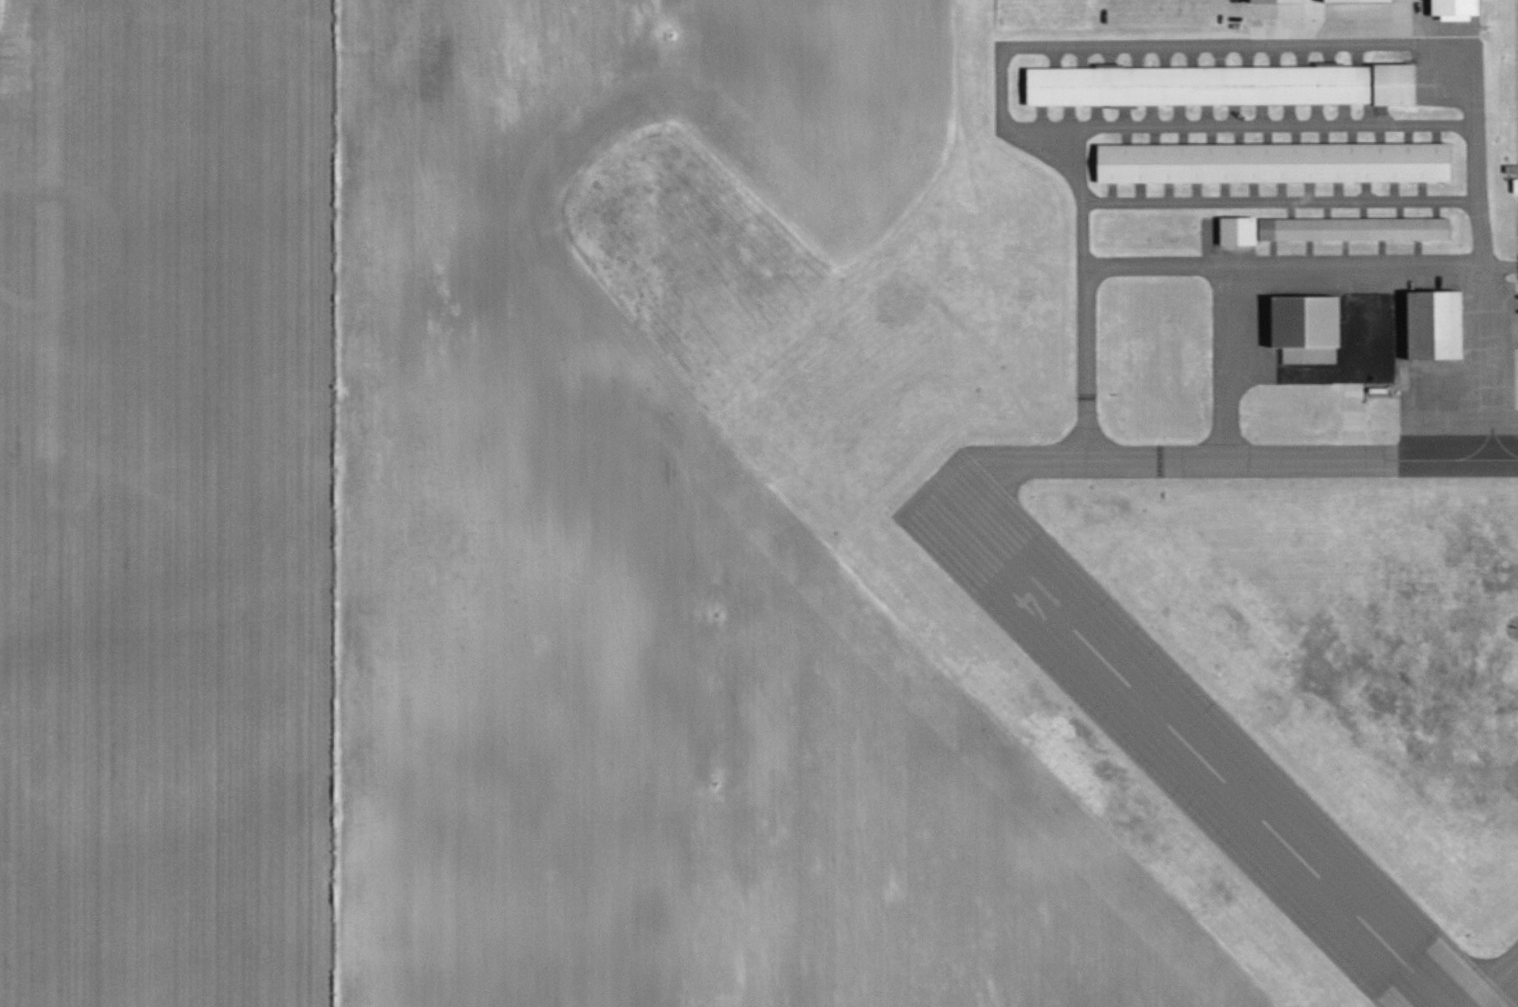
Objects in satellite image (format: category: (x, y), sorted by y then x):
building: (1282, 1)
building: (1366, 1)
building: (1460, 7)
airport taxiway: (1237, 46)
airport taxiway: (1302, 55)
airport taxiway: (1329, 55)
airport taxiway: (1357, 55)
airport taxiway: (1164, 56)
airport taxiway: (1191, 56)
airport taxiway: (1218, 56)
airport taxiway: (1248, 56)
airport taxiway: (1274, 56)
airport taxiway: (1053, 57)
airport taxiway: (1082, 57)
airport taxiway: (1108, 57)
airport taxiway: (1136, 57)
airport taxiway: (1474, 84)
airport hangar: (1396, 85)
building: (1396, 85)
airport hangar: (1199, 86)
building: (1199, 86)
airport taxiway: (1367, 114)
airport taxiway: (1289, 115)
airport taxiway: (1316, 115)
airport taxiway: (1343, 115)
airport taxiway: (1383, 115)
airport taxiway: (1068, 116)
airport taxiway: (1095, 116)
airport taxiway: (1123, 116)
airport taxiway: (1150, 116)
airport taxiway: (1178, 116)
airport taxiway: (1205, 116)
airport taxiway: (1233, 116)
airport taxiway: (1260, 116)
airport taxiway: (1041, 117)
airport taxiway: (1277, 125)
airport taxiway: (1042, 126)
airport taxiway: (1010, 129)
airport taxiway: (1295, 135)
airport taxiway: (1323, 135)
airport taxiway: (1351, 135)
airport taxiway: (1378, 135)
airport taxiway: (1407, 135)
airport taxiway: (1436, 135)
airport taxiway: (1125, 136)
airport taxiway: (1153, 136)
airport taxiway: (1182, 136)
airport taxiway: (1210, 136)
airport taxiway: (1238, 136)
airport taxiway: (1266, 136)
airport hangar: (1276, 163)
building: (1276, 163)
building: (1516, 185)
airport taxiway: (1281, 191)
airport taxiway: (1309, 191)
airport taxiway: (1337, 191)
airport taxiway: (1364, 191)
airport taxiway: (1393, 191)
airport taxiway: (1421, 191)
airport taxiway: (1140, 192)
airport taxiway: (1168, 192)
airport taxiway: (1196, 192)
airport taxiway: (1224, 192)
airport taxiway: (1252, 192)
airport taxiway: (1112, 193)
airport taxiway: (1316, 201)
airport taxiway: (1326, 209)
airport taxiway: (1362, 209)
airport taxiway: (1399, 209)
airport taxiway: (1435, 209)
airport taxiway: (1290, 210)
airport hangar: (1356, 229)
building: (1356, 229)
airport hangar: (1239, 231)
building: (1239, 231)
airport apron: (1217, 240)
airport taxiway: (1344, 252)
airport taxiway: (1381, 252)
airport taxiway: (1417, 252)
airport taxiway: (1272, 253)
airport taxiway: (1308, 253)
airport taxiway: (1313, 264)
airport taxiway: (1083, 294)
airport hangar: (1308, 322)
building: (1308, 322)
airport hangar: (1437, 326)
building: (1437, 326)
airport taxiway: (1224, 363)
airport taxiway: (1312, 370)
airport apron: (1465, 398)
airport taxiway: (1458, 459)
airport taxiway: (1165, 462)
airport: (928, 503)
airport runway: (1191, 749)
airport taxiway: (1495, 985)

